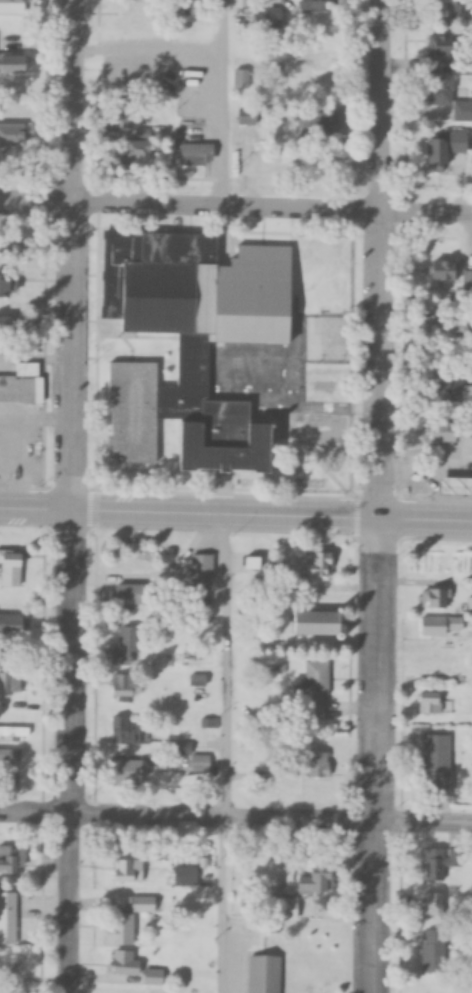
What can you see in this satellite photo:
building: (15, 1)
building: (241, 4)
building: (321, 5)
building: (452, 8)
building: (268, 17)
building: (126, 19)
building: (447, 46)
building: (313, 60)
building: (15, 64)
building: (241, 78)
building: (443, 104)
road: (221, 106)
building: (329, 124)
building: (12, 134)
building: (450, 147)
building: (137, 152)
building: (198, 154)
road: (235, 212)
building: (20, 246)
road: (76, 257)
road: (378, 262)
building: (257, 265)
building: (452, 273)
building: (8, 286)
building: (7, 327)
building: (450, 328)
building: (201, 351)
building: (21, 385)
building: (452, 391)
building: (451, 433)
building: (456, 487)
road: (37, 512)
road: (273, 521)
building: (319, 567)
building: (13, 568)
building: (202, 569)
building: (132, 596)
building: (437, 598)
building: (469, 605)
building: (13, 624)
building: (319, 624)
building: (440, 627)
building: (129, 647)
building: (12, 682)
building: (316, 689)
building: (430, 703)
building: (125, 732)
building: (16, 734)
road: (70, 753)
building: (12, 757)
road: (370, 759)
building: (200, 764)
building: (436, 764)
building: (319, 766)
building: (131, 771)
building: (259, 782)
road: (236, 820)
building: (13, 859)
building: (431, 865)
building: (129, 871)
building: (186, 876)
building: (316, 881)
building: (433, 905)
road: (220, 906)
building: (287, 909)
building: (8, 918)
building: (127, 921)
building: (431, 956)
building: (136, 969)
building: (264, 975)
building: (155, 991)

